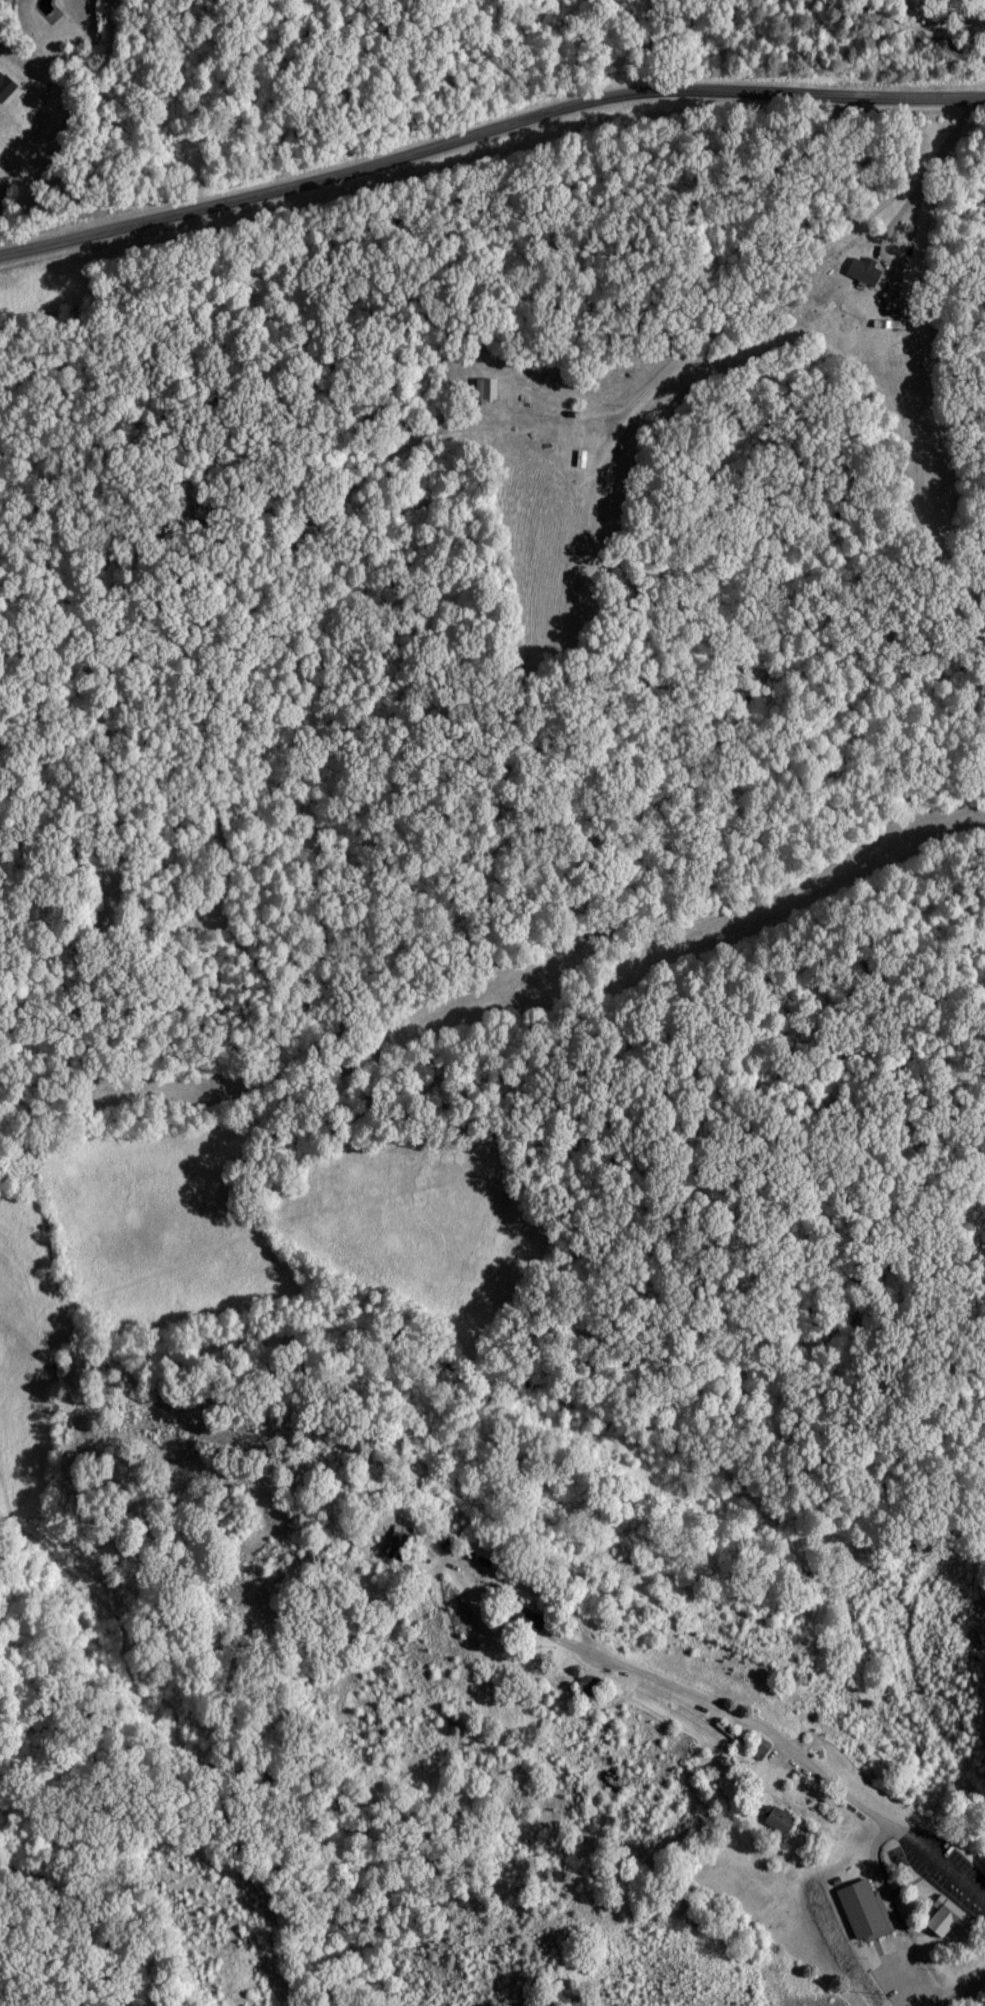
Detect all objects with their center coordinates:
building: (6, 87)
road: (812, 103)
road: (318, 170)
road: (900, 210)
road: (820, 255)
building: (867, 270)
building: (897, 306)
building: (489, 387)
building: (581, 457)
building: (403, 1539)
building: (593, 1686)
building: (759, 1749)
road: (812, 1776)
building: (782, 1819)
building: (867, 1908)
building: (950, 1915)
road: (968, 1992)
building: (520, 2004)

